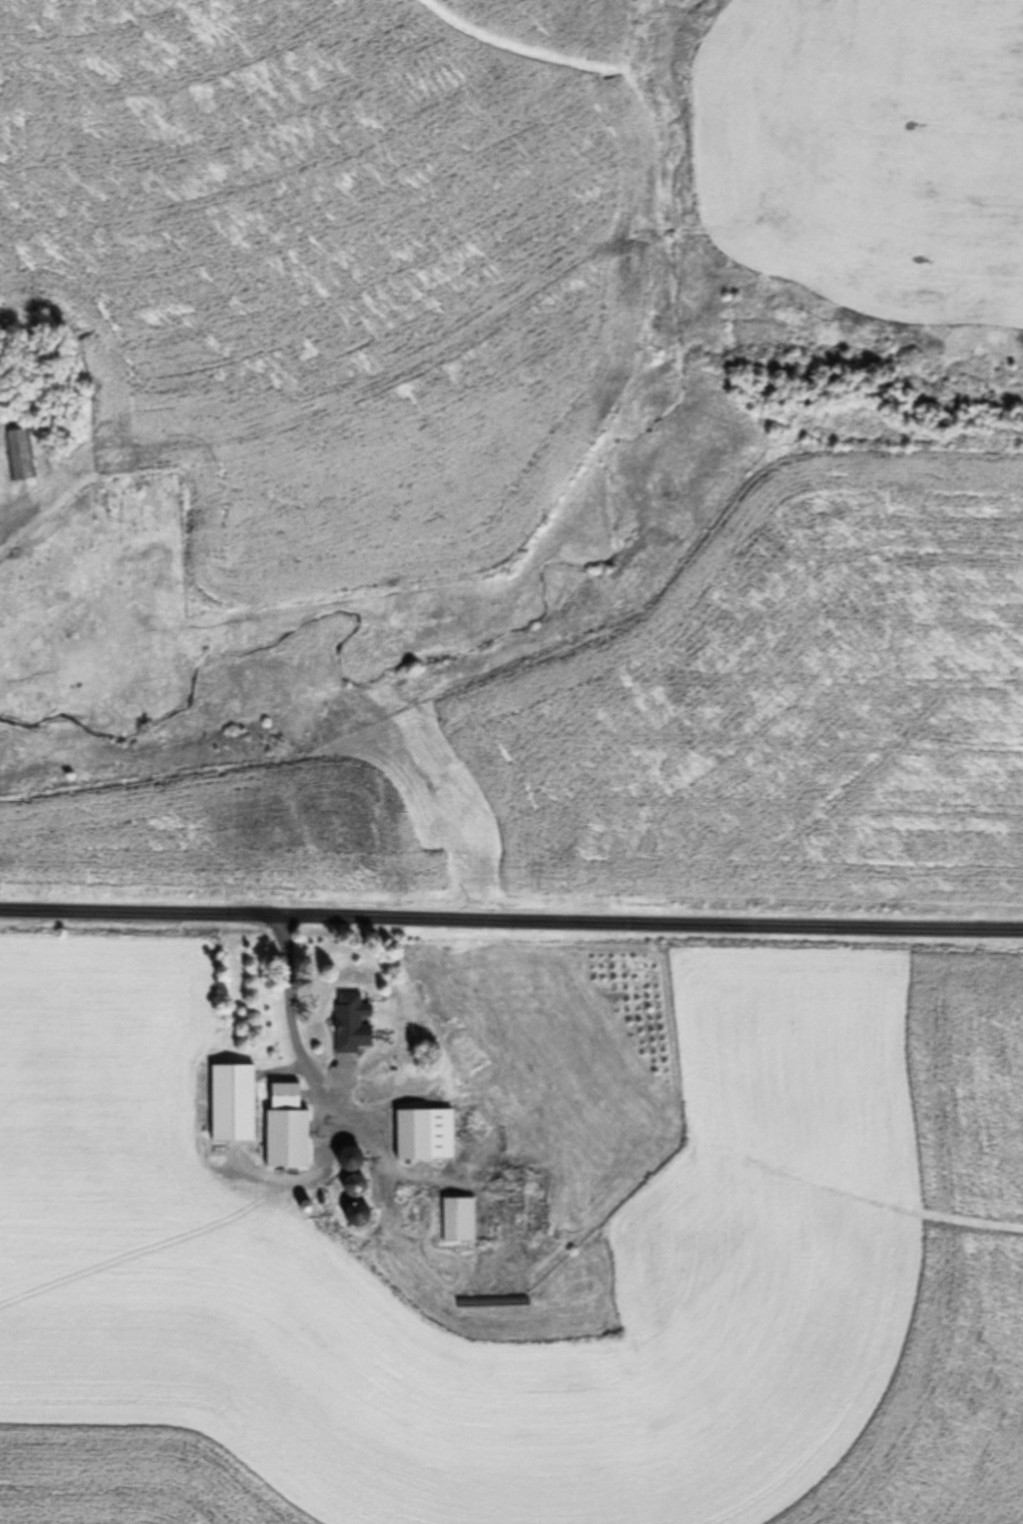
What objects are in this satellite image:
building: (21, 454)
road: (511, 914)
building: (351, 1023)
building: (232, 1102)
building: (289, 1128)
building: (423, 1134)
building: (349, 1171)
building: (355, 1213)
building: (458, 1219)

